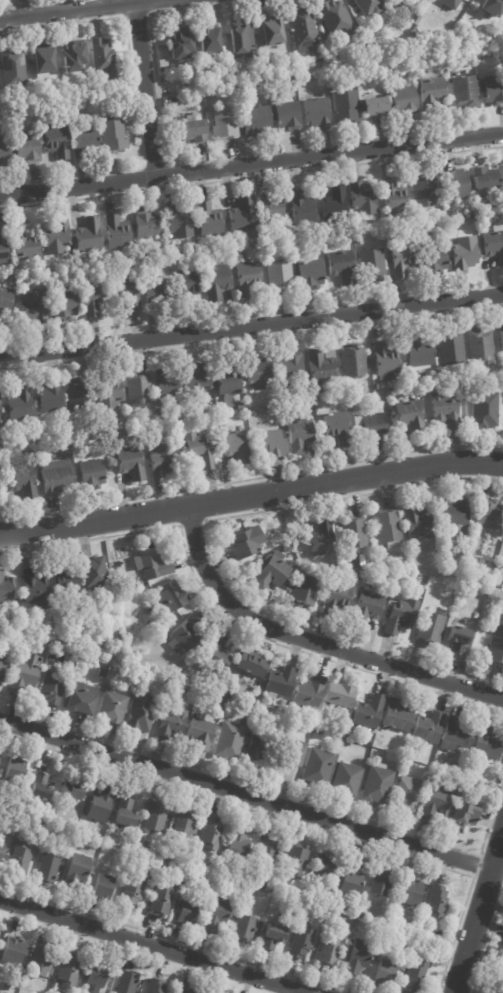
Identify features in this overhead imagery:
building: (399, 2)
building: (451, 3)
building: (369, 6)
building: (491, 7)
road: (74, 9)
building: (334, 17)
building: (419, 20)
building: (302, 26)
building: (270, 30)
building: (413, 32)
building: (208, 37)
building: (239, 37)
building: (179, 43)
building: (73, 56)
building: (101, 56)
building: (320, 56)
building: (40, 63)
building: (11, 70)
building: (294, 87)
road: (144, 88)
building: (493, 89)
building: (465, 91)
building: (431, 92)
building: (404, 98)
building: (345, 106)
building: (374, 106)
building: (315, 112)
building: (286, 115)
building: (256, 117)
building: (222, 121)
building: (192, 129)
building: (113, 138)
building: (54, 143)
building: (85, 143)
building: (24, 150)
building: (2, 154)
road: (251, 163)
building: (502, 165)
building: (485, 179)
building: (455, 184)
building: (421, 190)
building: (395, 197)
building: (362, 198)
building: (334, 203)
building: (268, 207)
building: (300, 209)
building: (241, 217)
building: (207, 218)
building: (179, 222)
building: (146, 223)
building: (116, 231)
building: (88, 234)
building: (56, 237)
building: (357, 239)
building: (23, 243)
building: (493, 243)
building: (3, 246)
building: (463, 252)
building: (162, 253)
building: (238, 255)
building: (434, 255)
building: (169, 258)
building: (400, 258)
building: (371, 263)
building: (340, 266)
building: (53, 268)
building: (310, 273)
building: (278, 276)
building: (245, 278)
building: (216, 282)
building: (185, 285)
building: (125, 288)
building: (153, 290)
building: (4, 295)
building: (91, 298)
building: (65, 304)
building: (31, 306)
road: (251, 325)
building: (501, 337)
building: (479, 345)
building: (449, 350)
building: (416, 353)
building: (352, 360)
building: (384, 362)
building: (288, 368)
building: (320, 368)
building: (255, 372)
building: (196, 380)
building: (228, 383)
building: (375, 386)
building: (457, 388)
building: (136, 389)
building: (166, 389)
building: (107, 391)
building: (334, 395)
building: (78, 396)
building: (49, 397)
building: (19, 405)
building: (239, 406)
building: (483, 410)
building: (443, 411)
building: (408, 416)
building: (32, 424)
building: (336, 427)
building: (372, 427)
building: (172, 430)
building: (298, 434)
building: (269, 443)
building: (232, 446)
building: (196, 450)
building: (161, 460)
building: (129, 463)
building: (91, 474)
building: (56, 478)
building: (21, 480)
road: (251, 495)
building: (452, 513)
building: (488, 515)
building: (417, 523)
building: (386, 528)
building: (354, 532)
building: (141, 539)
building: (320, 539)
building: (245, 543)
building: (470, 556)
building: (498, 556)
building: (151, 564)
building: (498, 567)
building: (393, 570)
building: (271, 572)
building: (92, 573)
building: (65, 581)
building: (468, 582)
building: (6, 587)
building: (33, 588)
building: (501, 589)
building: (303, 592)
building: (340, 593)
building: (458, 593)
building: (169, 597)
building: (368, 608)
building: (400, 616)
building: (475, 616)
building: (26, 621)
building: (498, 622)
building: (149, 624)
building: (428, 628)
building: (141, 631)
building: (183, 636)
road: (312, 641)
building: (456, 641)
building: (494, 652)
building: (215, 653)
building: (0, 654)
building: (191, 660)
building: (251, 666)
building: (2, 671)
building: (101, 673)
building: (484, 674)
building: (26, 677)
building: (280, 683)
building: (52, 688)
building: (308, 693)
building: (232, 694)
building: (338, 698)
building: (79, 700)
building: (218, 705)
building: (111, 708)
building: (367, 713)
building: (139, 714)
building: (397, 717)
building: (171, 722)
building: (427, 727)
building: (201, 733)
building: (314, 735)
building: (341, 735)
building: (455, 736)
building: (230, 741)
building: (366, 743)
building: (485, 746)
building: (256, 749)
building: (293, 753)
building: (317, 768)
building: (15, 771)
building: (346, 780)
building: (376, 784)
building: (40, 787)
building: (70, 792)
road: (246, 794)
building: (404, 795)
building: (436, 802)
building: (100, 805)
building: (125, 814)
building: (154, 817)
building: (461, 817)
building: (183, 825)
building: (82, 829)
building: (210, 834)
building: (68, 838)
building: (136, 840)
building: (97, 844)
building: (1, 846)
building: (238, 846)
building: (267, 850)
building: (19, 859)
building: (295, 862)
building: (325, 866)
building: (46, 868)
building: (79, 868)
building: (180, 870)
building: (191, 875)
building: (149, 877)
building: (350, 881)
building: (380, 884)
building: (102, 888)
building: (410, 891)
building: (130, 893)
building: (158, 901)
building: (436, 903)
building: (338, 906)
building: (188, 913)
road: (478, 913)
building: (217, 915)
building: (361, 915)
building: (339, 920)
building: (244, 929)
building: (348, 934)
building: (274, 936)
building: (398, 938)
building: (406, 942)
building: (300, 944)
road: (154, 946)
building: (12, 950)
building: (328, 956)
building: (357, 958)
building: (39, 961)
building: (67, 971)
building: (499, 971)
building: (385, 973)
building: (97, 975)
building: (412, 978)
building: (125, 982)
building: (5, 986)
building: (155, 986)
building: (187, 991)

